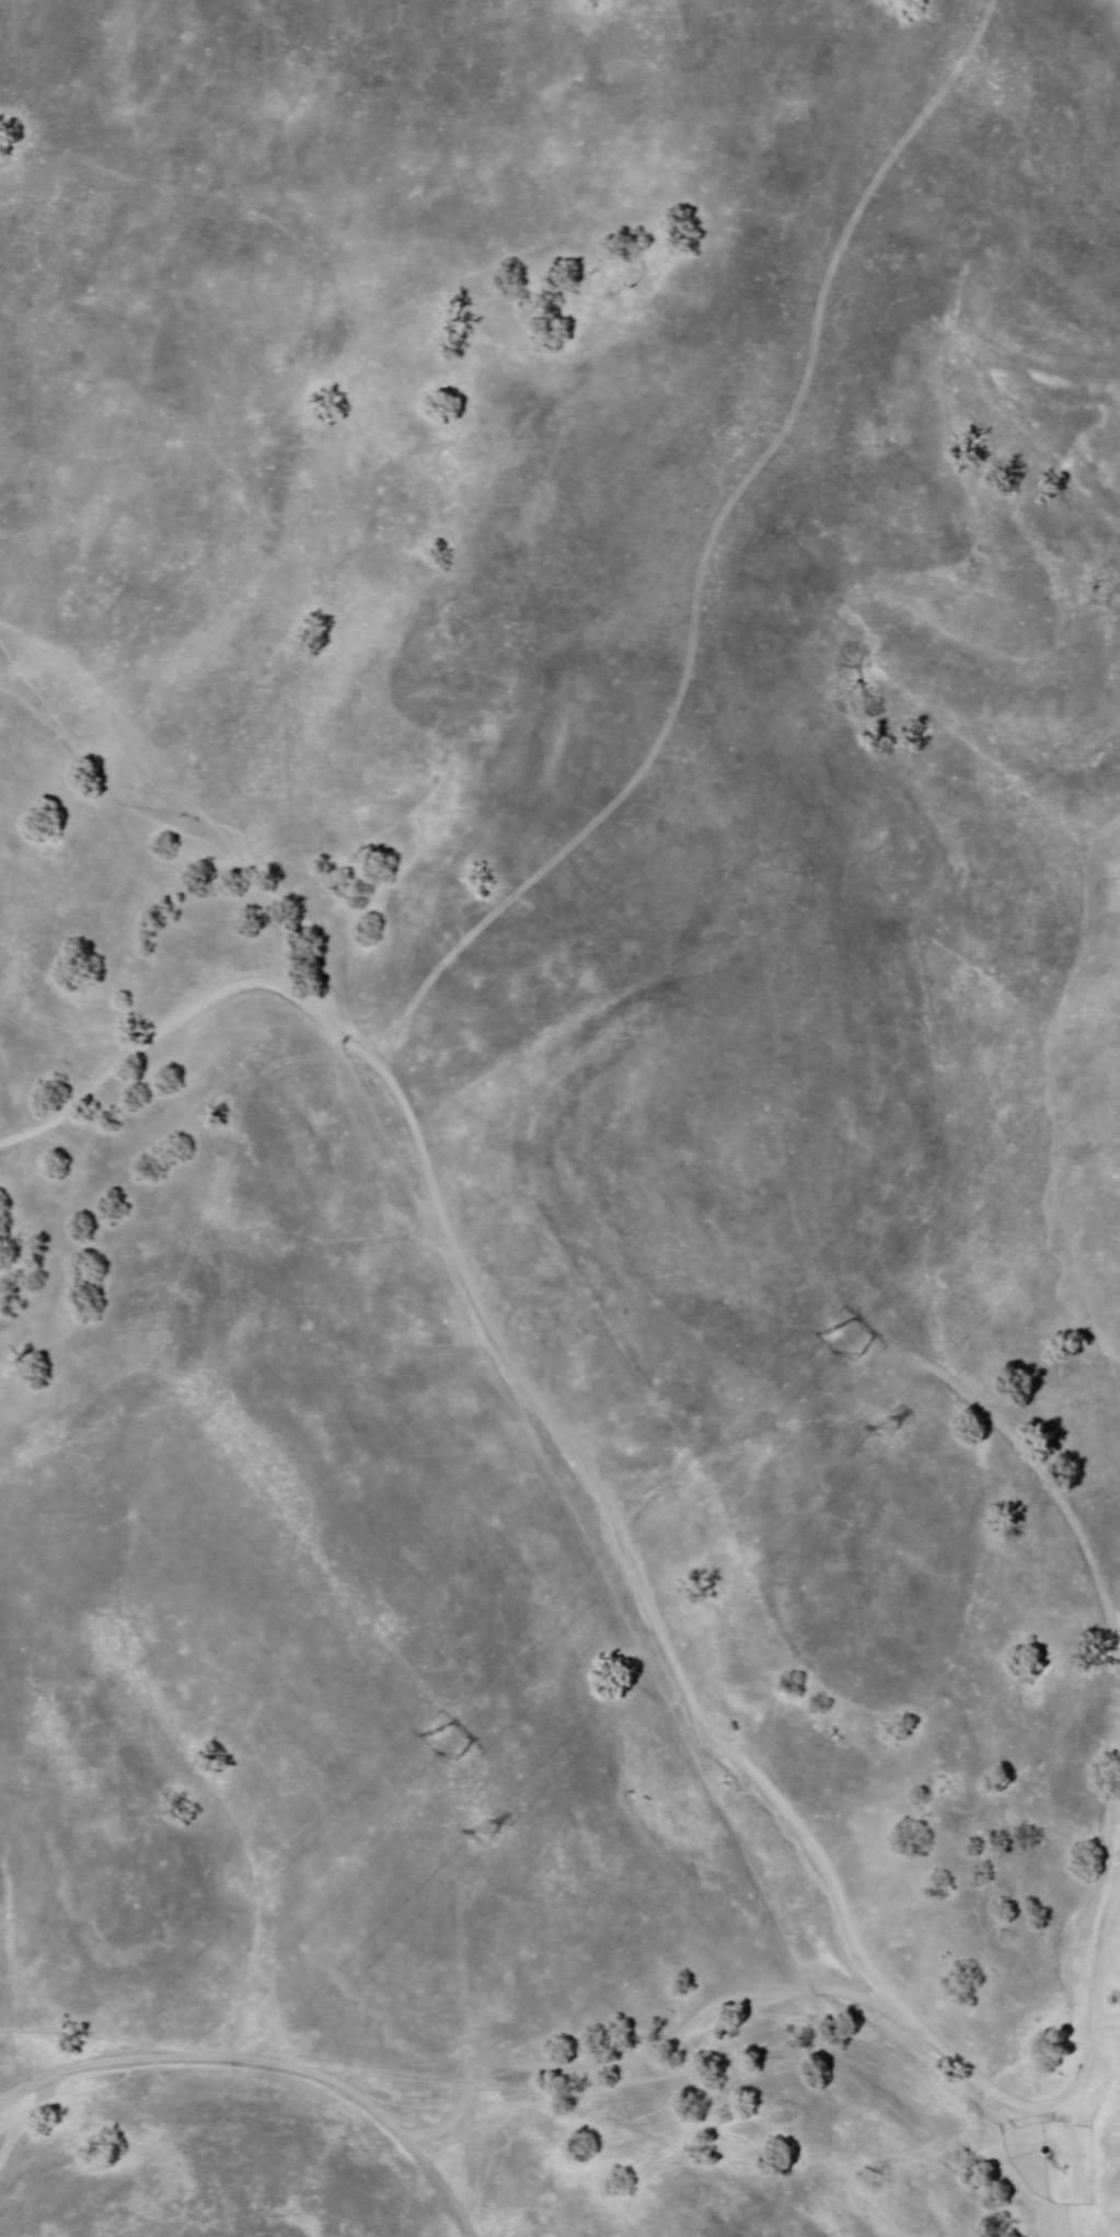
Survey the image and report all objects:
road: (708, 552)
power tower: (842, 1349)
power tower: (877, 1435)
road: (565, 1437)
power tower: (442, 1745)
power tower: (467, 1846)
road: (1101, 1994)
road: (270, 2061)
road: (1082, 2167)

